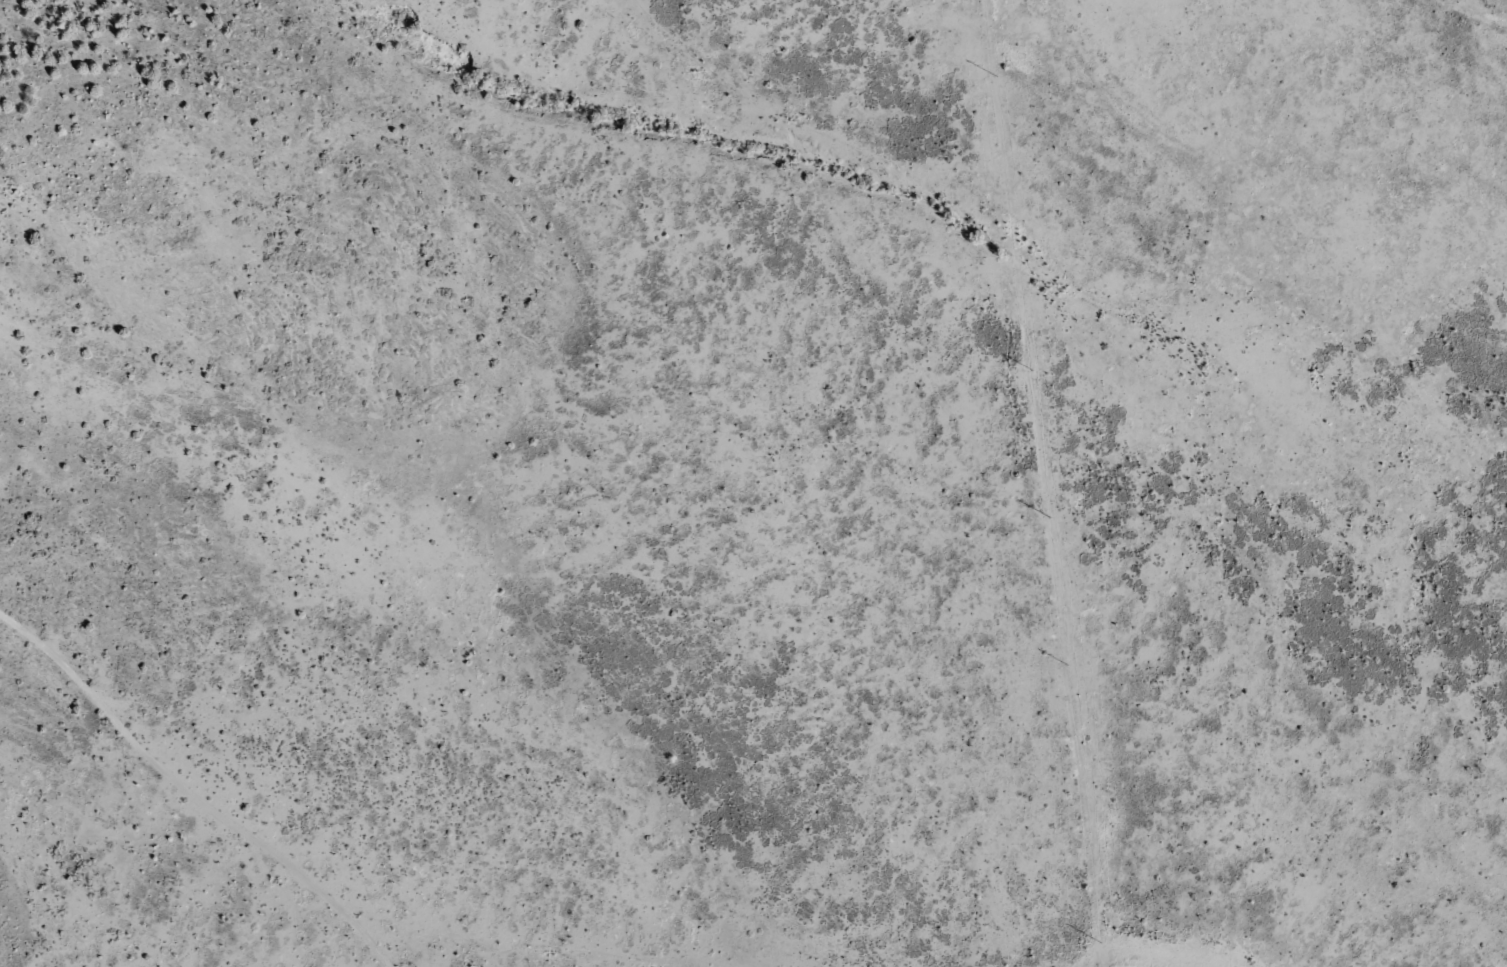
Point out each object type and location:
road: (1504, 964)

